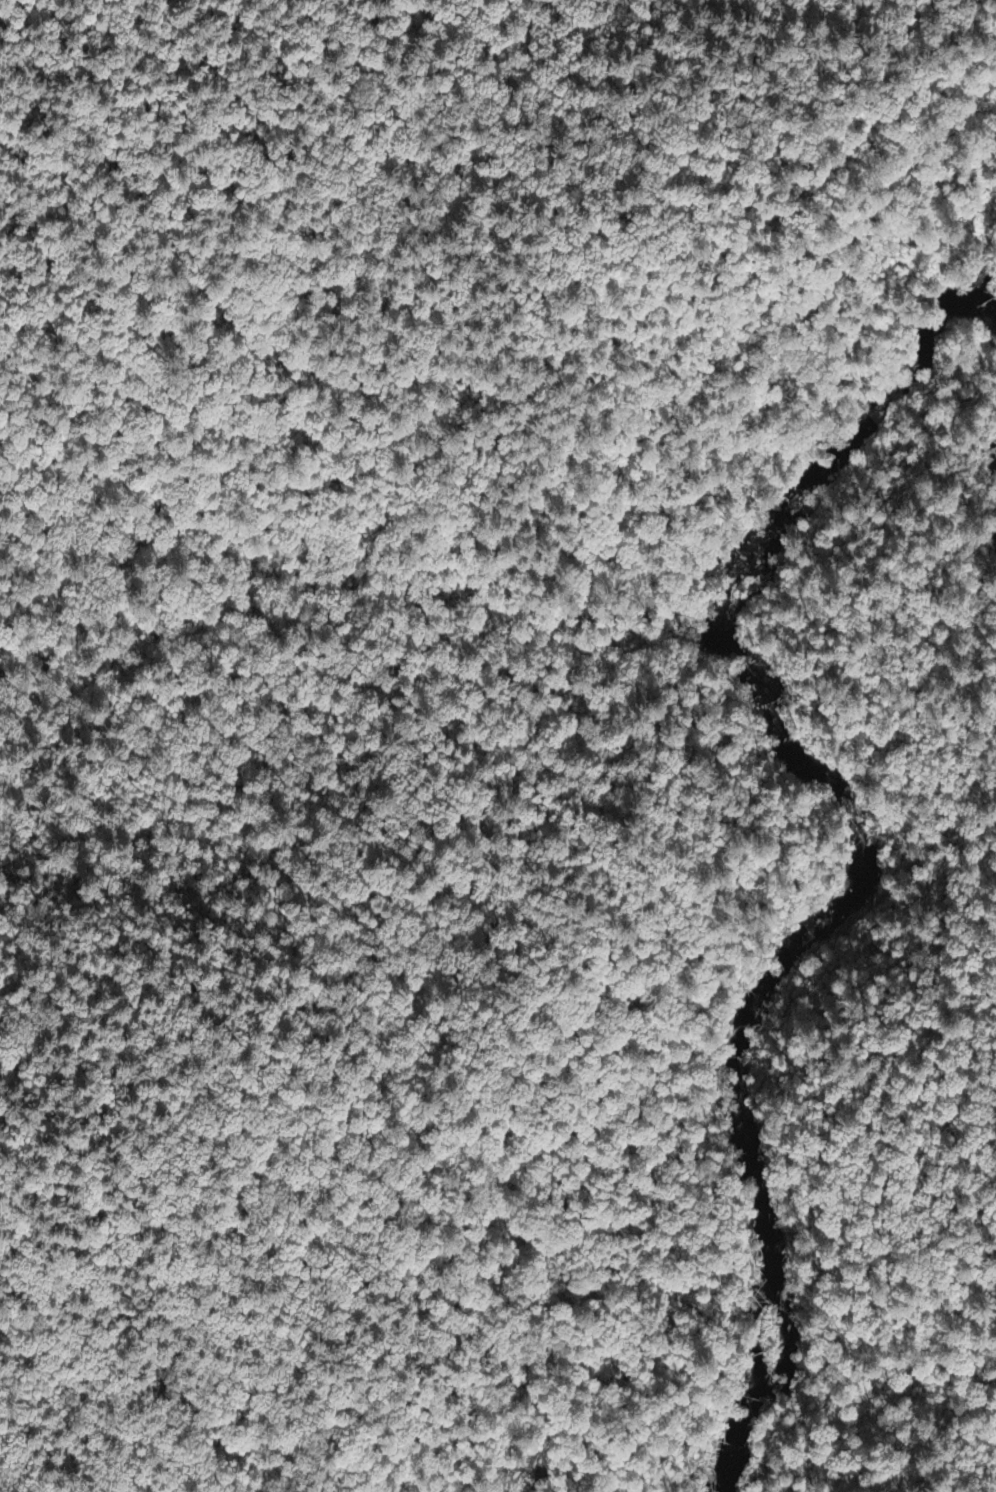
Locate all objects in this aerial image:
river: (860, 831)

